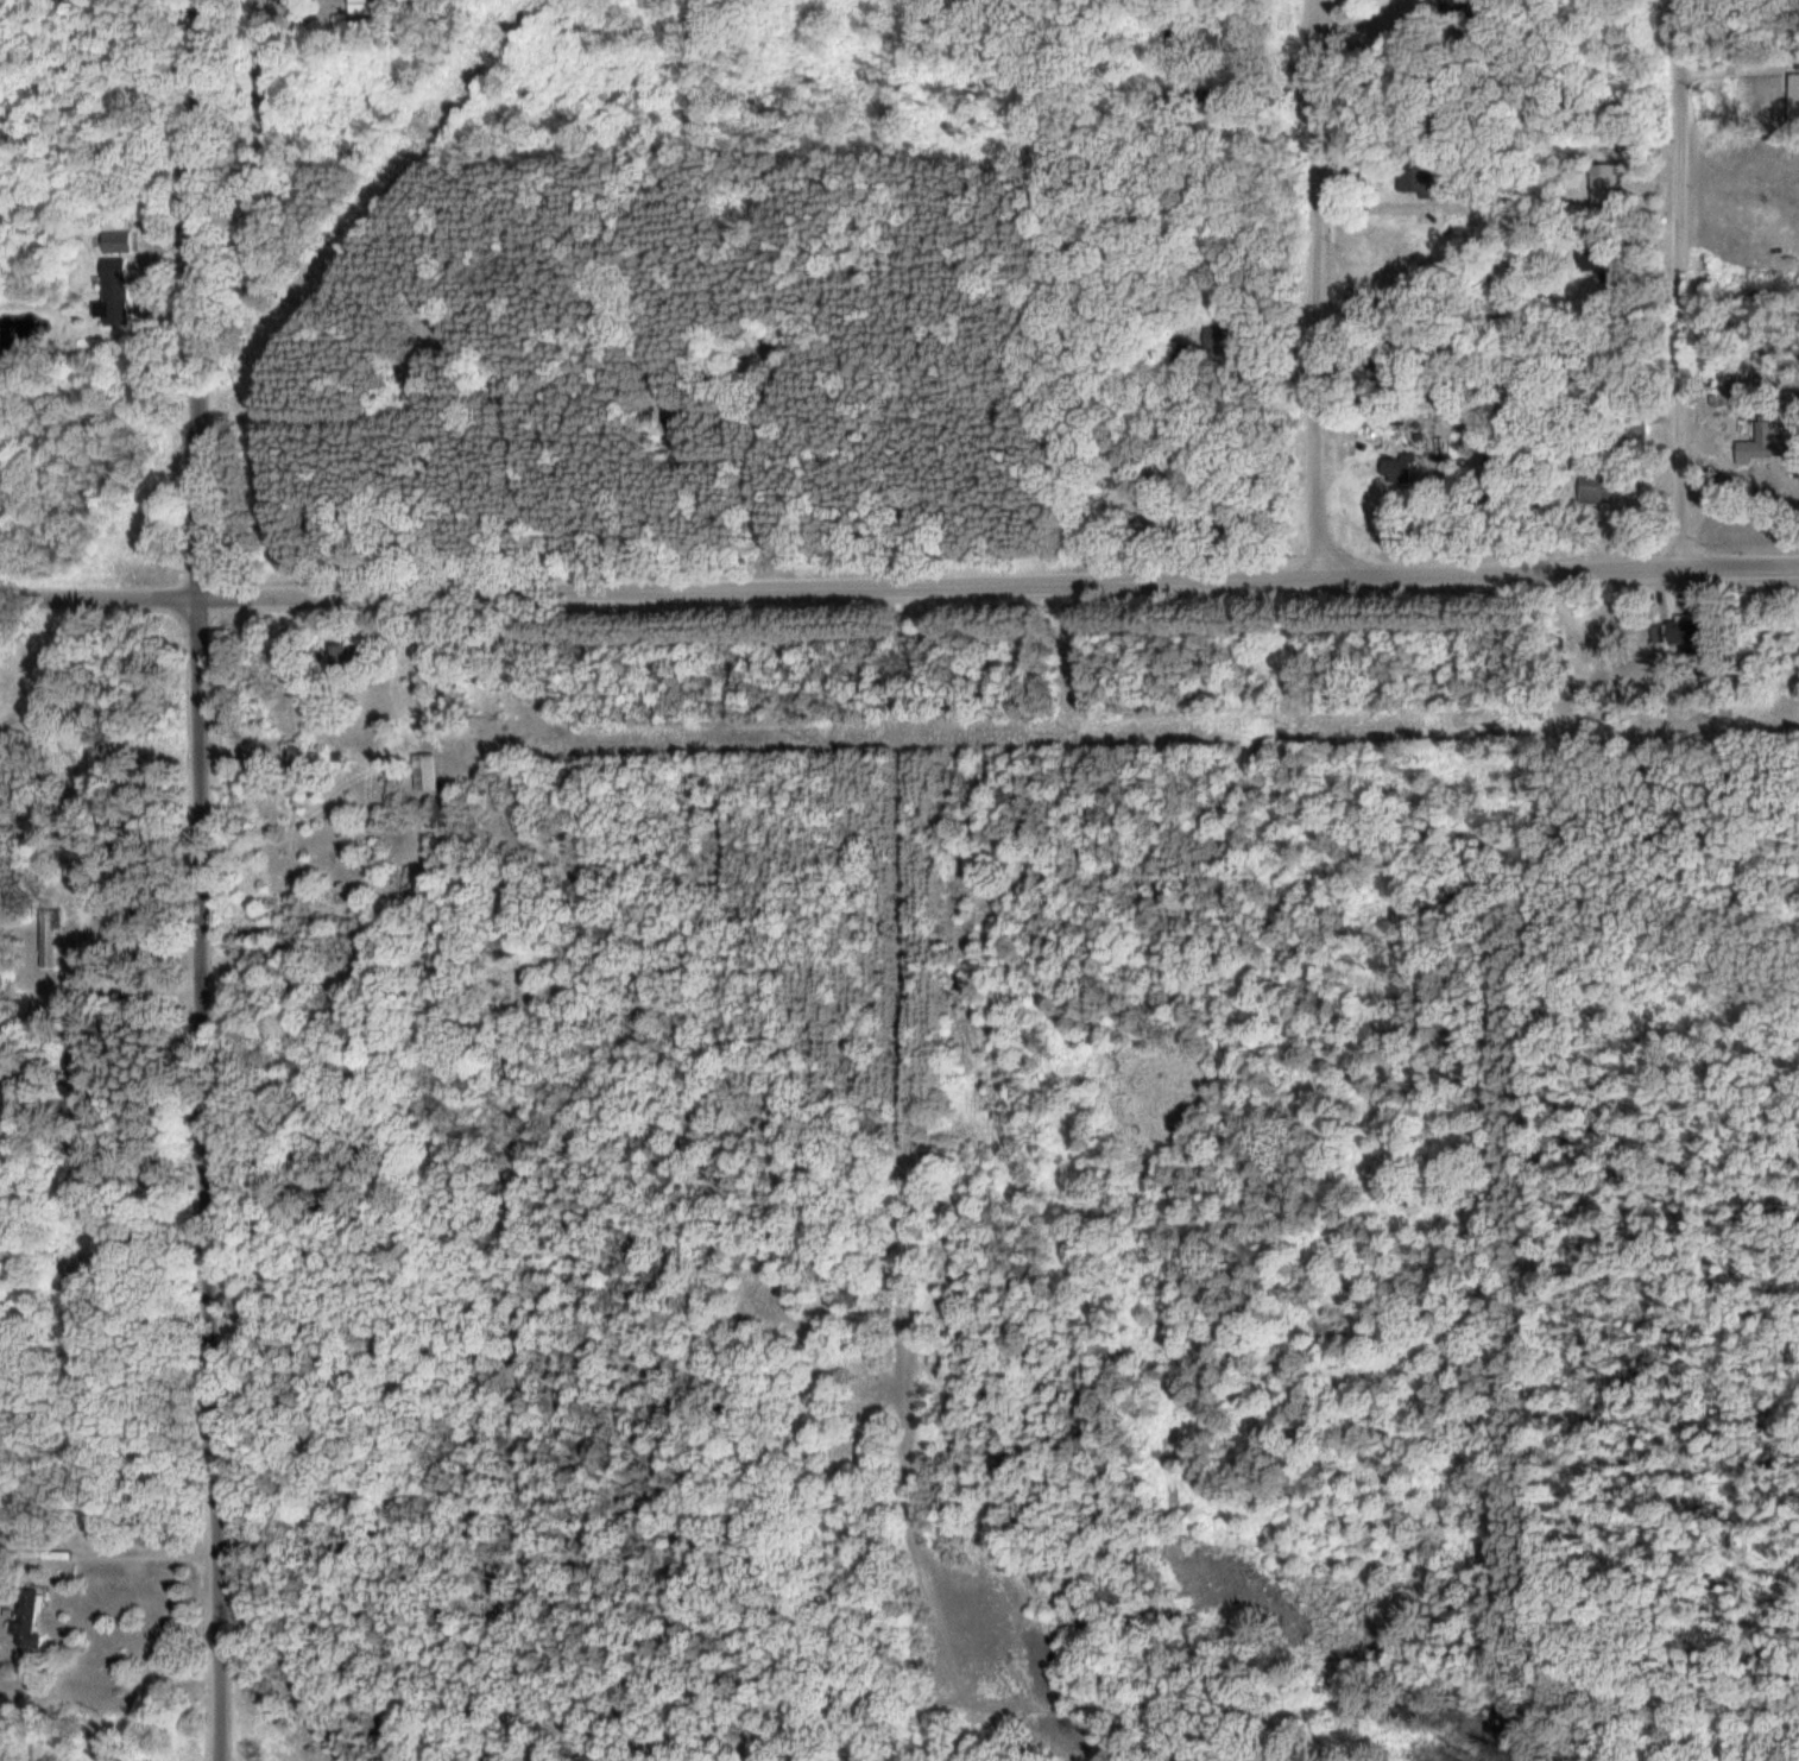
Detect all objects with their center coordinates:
building: (1795, 97)
building: (1608, 188)
road: (1685, 283)
road: (1320, 286)
road: (607, 341)
building: (1376, 418)
building: (1641, 422)
building: (1401, 468)
building: (1601, 486)
road: (1001, 581)
road: (1311, 592)
road: (102, 601)
building: (1688, 627)
building: (430, 772)
road: (208, 880)
building: (52, 938)
building: (26, 1620)

